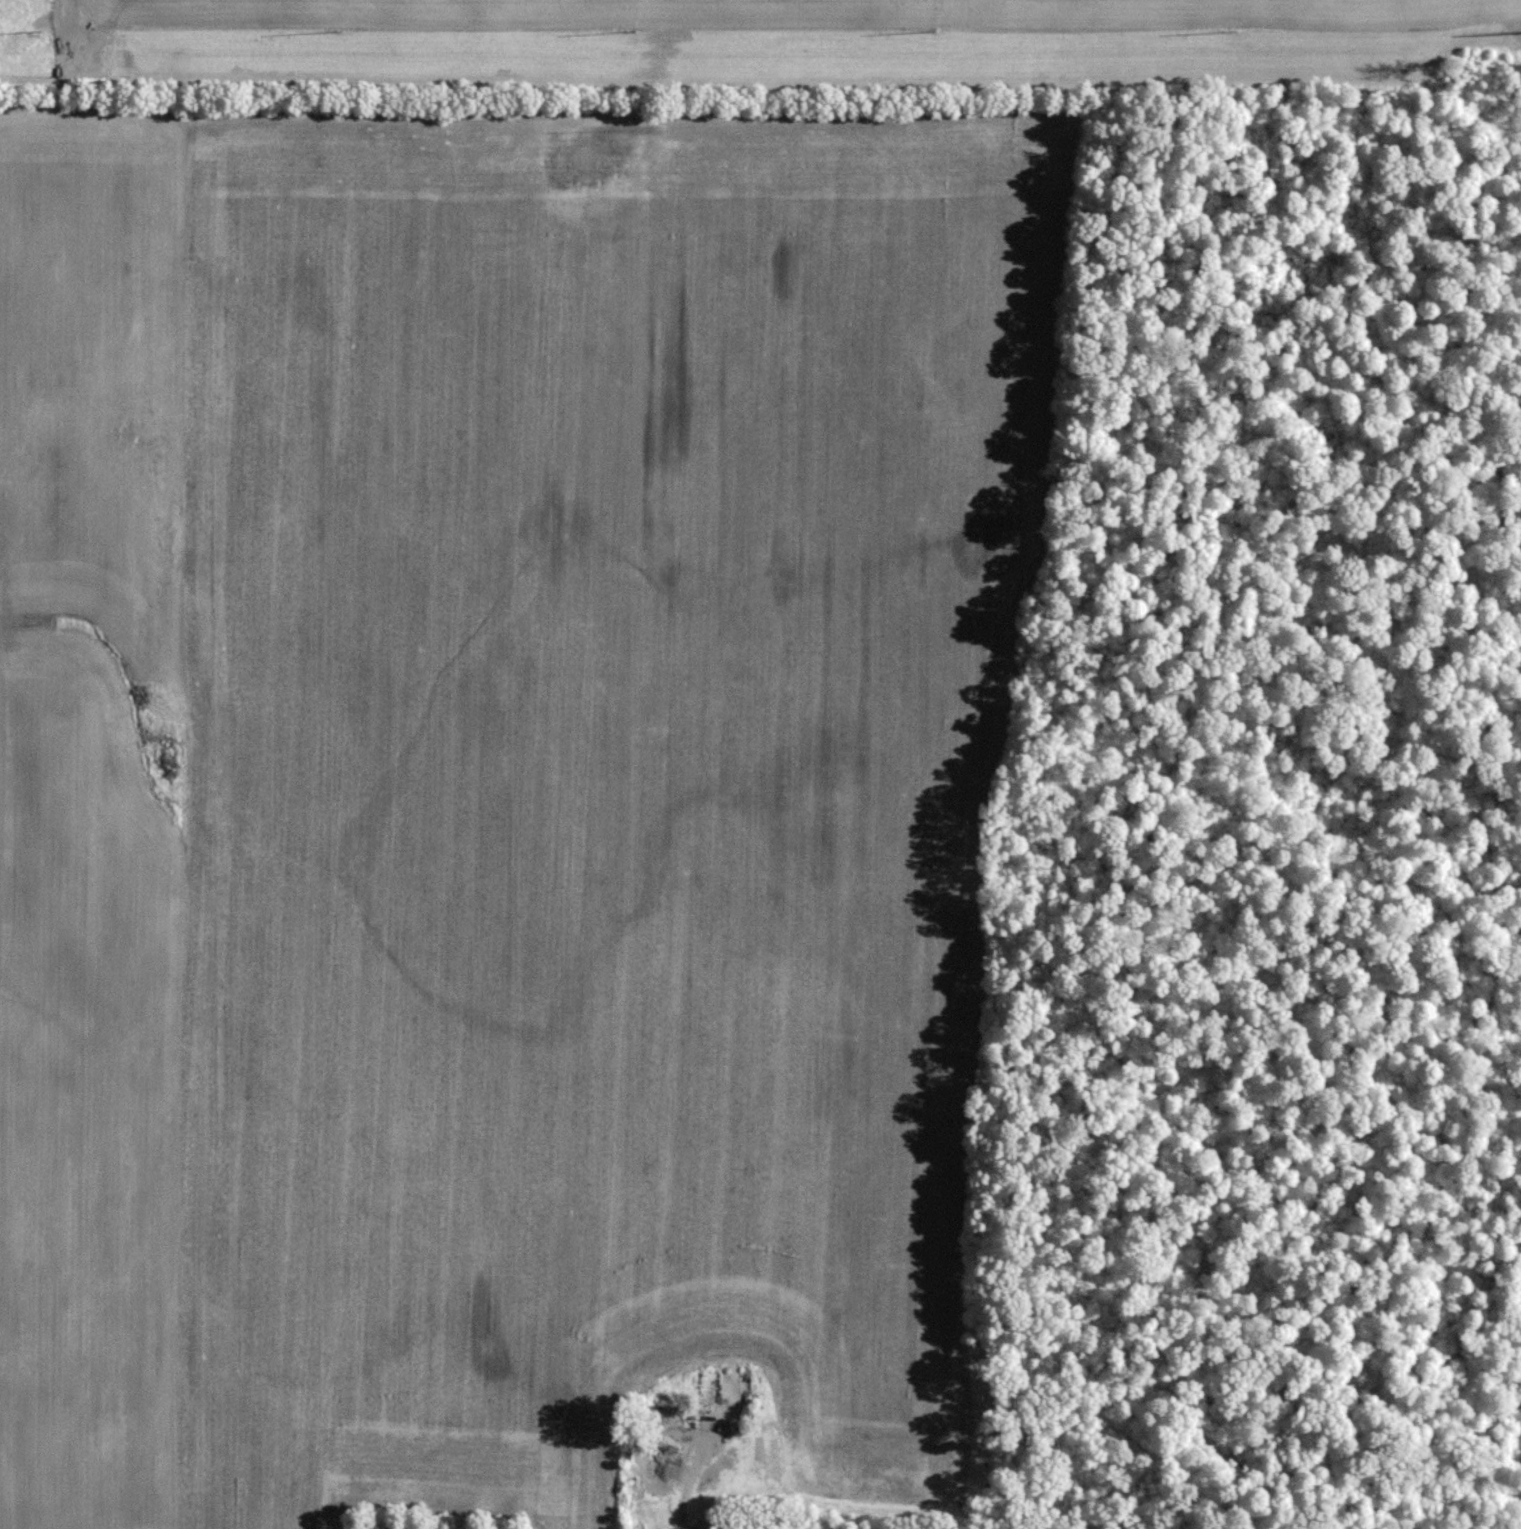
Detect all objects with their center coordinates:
building: (716, 1383)
road: (689, 1480)

